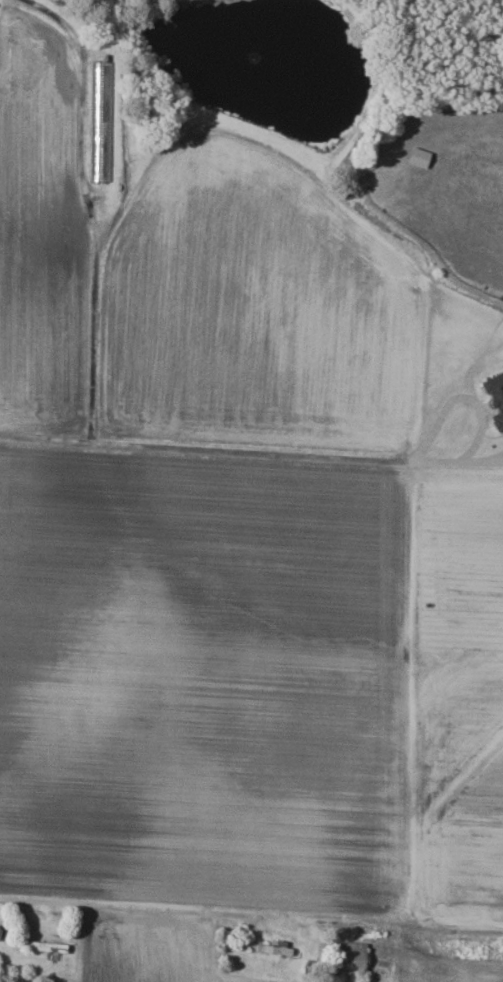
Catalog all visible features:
building: (99, 122)
road: (92, 206)
building: (497, 397)
road: (46, 438)
road: (279, 453)
road: (131, 903)
building: (43, 946)
building: (273, 949)
building: (353, 957)

